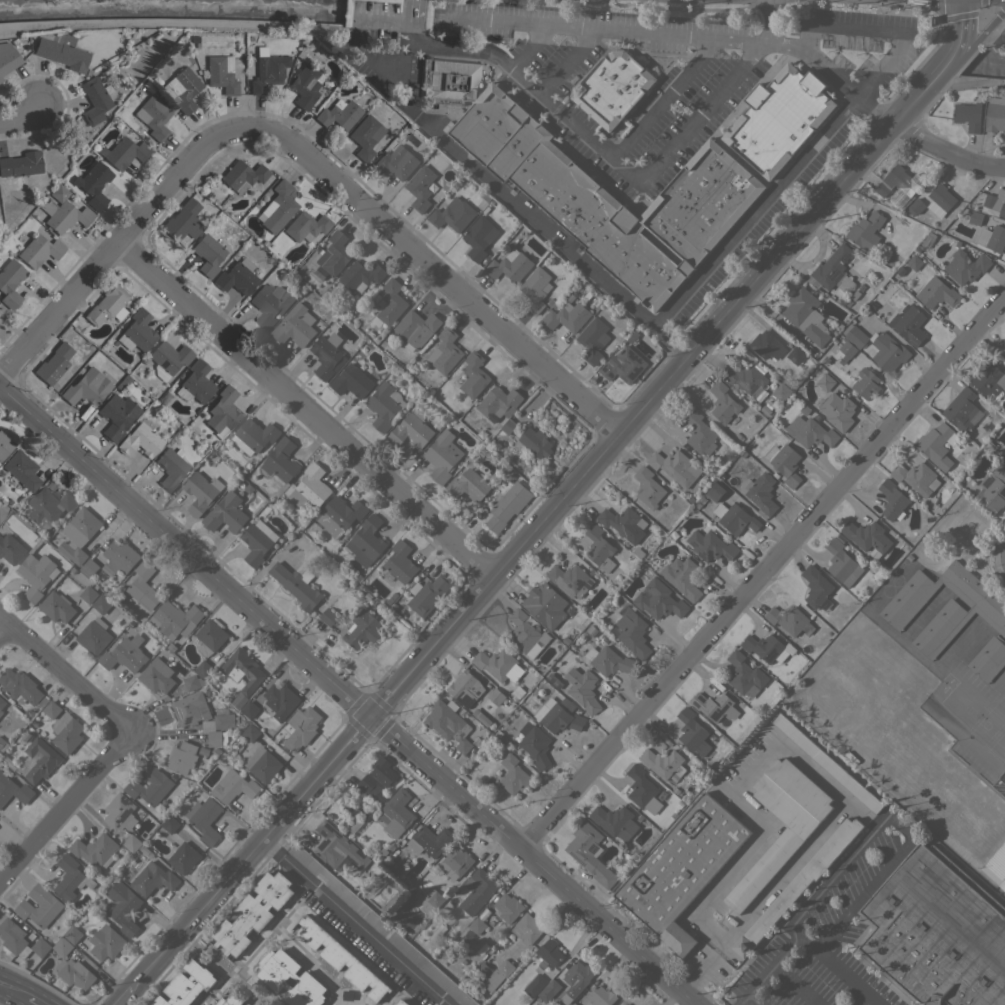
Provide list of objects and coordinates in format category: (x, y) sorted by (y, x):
road: (961, 11)
road: (574, 26)
building: (1003, 31)
road: (764, 32)
building: (1004, 34)
road: (532, 48)
building: (61, 52)
building: (7, 57)
road: (814, 57)
road: (945, 60)
road: (570, 62)
building: (266, 73)
building: (220, 74)
building: (0, 79)
building: (305, 86)
building: (613, 87)
building: (182, 89)
building: (95, 99)
road: (875, 108)
building: (995, 113)
building: (338, 114)
road: (19, 115)
building: (968, 115)
building: (153, 116)
road: (835, 117)
building: (779, 119)
road: (691, 125)
building: (365, 136)
road: (597, 145)
building: (123, 152)
road: (946, 154)
building: (395, 163)
building: (21, 164)
building: (242, 175)
building: (895, 181)
building: (93, 184)
building: (597, 186)
building: (420, 187)
road: (507, 195)
building: (942, 196)
building: (996, 201)
building: (917, 205)
building: (278, 207)
building: (62, 211)
building: (453, 214)
building: (976, 218)
building: (183, 220)
building: (305, 226)
building: (866, 230)
building: (478, 237)
building: (992, 237)
road: (115, 245)
building: (38, 250)
building: (334, 253)
building: (207, 254)
rooftop solar panel: (844, 258)
building: (914, 262)
building: (510, 265)
building: (965, 266)
building: (833, 270)
road: (437, 271)
building: (237, 276)
building: (360, 276)
rooftop solar panel: (836, 276)
building: (10, 282)
building: (535, 289)
building: (937, 293)
building: (391, 302)
building: (270, 303)
building: (107, 305)
building: (805, 315)
building: (567, 316)
building: (909, 324)
building: (295, 326)
building: (416, 328)
building: (136, 331)
building: (855, 335)
rooftop solar panel: (769, 337)
building: (593, 340)
building: (765, 344)
rooftop solar panel: (770, 347)
rooftop solar panel: (759, 350)
building: (888, 351)
building: (445, 352)
building: (844, 352)
rooftop solar panel: (324, 354)
building: (327, 355)
building: (795, 355)
building: (168, 358)
building: (53, 363)
building: (623, 365)
building: (474, 375)
building: (745, 378)
building: (988, 380)
building: (825, 381)
building: (352, 382)
building: (195, 383)
building: (866, 383)
building: (86, 387)
building: (781, 392)
building: (723, 402)
building: (384, 405)
building: (493, 407)
building: (837, 410)
building: (962, 410)
building: (222, 413)
road: (303, 414)
building: (116, 415)
building: (508, 426)
building: (410, 431)
building: (810, 432)
building: (700, 433)
building: (254, 436)
building: (139, 440)
building: (535, 442)
building: (935, 444)
building: (4, 445)
building: (442, 455)
building: (1004, 458)
building: (281, 460)
building: (784, 463)
building: (170, 467)
building: (675, 467)
building: (20, 470)
building: (916, 477)
building: (468, 485)
building: (309, 487)
building: (649, 489)
building: (992, 489)
building: (716, 491)
building: (199, 493)
building: (760, 493)
building: (892, 500)
building: (508, 505)
building: (48, 507)
building: (2, 513)
building: (225, 513)
building: (339, 515)
building: (735, 518)
building: (624, 523)
building: (78, 534)
building: (867, 537)
building: (366, 541)
building: (257, 542)
building: (710, 545)
road: (519, 548)
building: (599, 548)
building: (10, 549)
road: (1004, 552)
building: (637, 553)
road: (1004, 554)
building: (119, 558)
building: (400, 562)
building: (840, 562)
building: (89, 567)
road: (763, 572)
building: (36, 575)
building: (681, 576)
building: (570, 580)
building: (296, 584)
building: (815, 586)
building: (142, 588)
building: (88, 594)
building: (427, 594)
building: (658, 600)
building: (101, 604)
building: (545, 604)
building: (56, 606)
building: (944, 606)
building: (327, 616)
building: (174, 619)
building: (789, 620)
building: (361, 629)
road: (4, 630)
building: (633, 633)
building: (526, 634)
building: (93, 637)
building: (210, 637)
road: (676, 644)
building: (767, 648)
road: (908, 650)
road: (965, 650)
building: (125, 654)
building: (988, 658)
building: (608, 660)
building: (498, 664)
building: (203, 669)
building: (242, 669)
building: (744, 674)
road: (62, 675)
building: (157, 676)
building: (191, 682)
parking lot: (956, 682)
building: (21, 687)
building: (465, 687)
building: (583, 689)
building: (517, 692)
park: (857, 693)
building: (496, 696)
road: (350, 698)
road: (976, 698)
road: (996, 698)
building: (280, 700)
building: (2, 702)
building: (714, 706)
building: (189, 708)
building: (52, 709)
building: (249, 709)
building: (1, 712)
building: (557, 717)
building: (223, 721)
building: (448, 724)
building: (301, 727)
building: (250, 732)
building: (692, 732)
building: (67, 733)
building: (216, 738)
road: (965, 739)
building: (3, 744)
building: (534, 744)
building: (181, 757)
building: (38, 760)
road: (762, 761)
building: (826, 762)
building: (663, 763)
building: (264, 765)
building: (383, 770)
building: (497, 771)
building: (513, 775)
building: (369, 785)
building: (233, 786)
building: (149, 787)
building: (642, 789)
building: (13, 790)
rooftop solar panel: (124, 800)
road: (62, 808)
building: (120, 812)
building: (396, 813)
road: (862, 813)
rooftop solar panel: (125, 817)
building: (205, 819)
building: (614, 821)
road: (895, 822)
building: (169, 824)
building: (354, 826)
building: (429, 840)
building: (132, 843)
building: (338, 847)
rooftop solar panel: (592, 847)
building: (95, 849)
building: (589, 852)
building: (183, 857)
rooftop solar panel: (576, 858)
building: (455, 863)
building: (768, 863)
building: (996, 865)
building: (682, 868)
building: (71, 878)
building: (153, 878)
building: (799, 883)
building: (478, 890)
building: (428, 896)
building: (39, 906)
building: (123, 907)
building: (508, 907)
building: (254, 912)
road: (353, 923)
building: (380, 925)
building: (477, 925)
building: (527, 928)
building: (938, 932)
building: (437, 933)
building: (72, 934)
building: (20, 940)
parking lot: (822, 940)
building: (106, 942)
road: (582, 942)
building: (62, 946)
building: (548, 953)
building: (342, 958)
road: (774, 965)
road: (841, 970)
building: (481, 972)
building: (75, 973)
building: (498, 975)
building: (578, 975)
building: (274, 976)
building: (187, 985)
building: (534, 985)
road: (797, 985)
road: (14, 987)
rooftop solar panel: (177, 989)
building: (548, 990)
building: (601, 996)
building: (230, 999)
road: (35, 1000)
road: (753, 1000)
building: (401, 1002)
building: (625, 1003)
building: (249, 1004)
building: (574, 1004)

